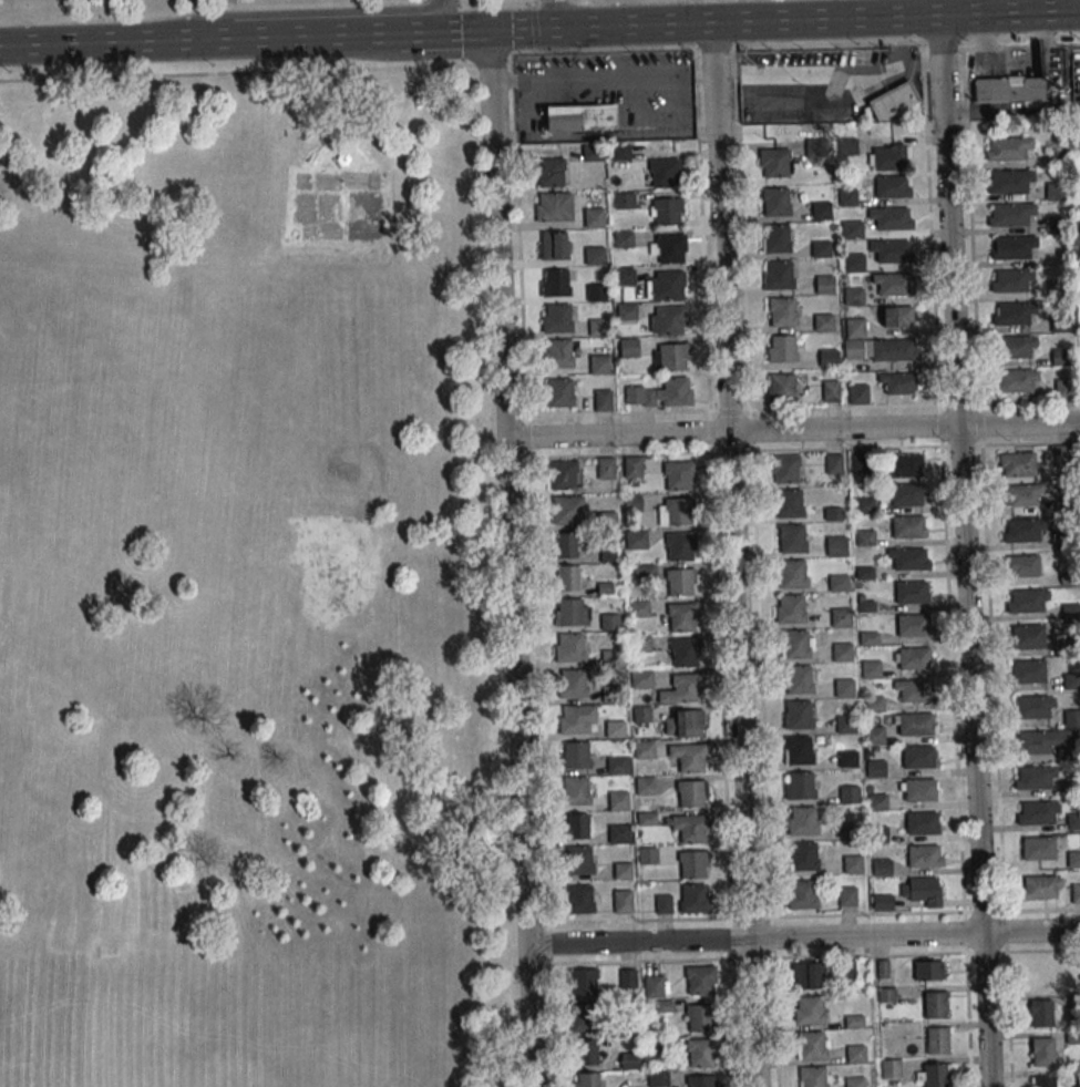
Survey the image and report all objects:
road: (295, 12)
road: (1009, 12)
road: (557, 13)
road: (825, 19)
road: (532, 22)
road: (566, 27)
traffic signals: (566, 28)
road: (373, 33)
road: (163, 40)
road: (897, 47)
road: (538, 49)
road: (918, 65)
road: (801, 71)
building: (1009, 90)
building: (893, 101)
building: (579, 117)
building: (1008, 148)
building: (886, 157)
building: (340, 161)
building: (775, 163)
building: (549, 172)
building: (662, 173)
building: (1010, 181)
building: (891, 187)
building: (1056, 191)
building: (846, 197)
building: (625, 201)
building: (775, 202)
building: (553, 206)
building: (666, 211)
building: (821, 211)
building: (1010, 215)
building: (594, 217)
building: (892, 219)
building: (852, 230)
road: (496, 235)
building: (775, 238)
building: (624, 239)
building: (554, 245)
building: (1012, 247)
building: (667, 248)
building: (821, 249)
building: (893, 253)
building: (595, 256)
building: (853, 263)
building: (778, 275)
building: (1010, 280)
building: (555, 283)
building: (665, 285)
building: (824, 285)
building: (894, 286)
building: (596, 293)
building: (853, 296)
building: (627, 311)
building: (782, 311)
building: (1012, 314)
building: (896, 316)
building: (556, 318)
building: (668, 320)
building: (823, 321)
building: (598, 327)
building: (628, 347)
building: (1017, 347)
building: (783, 348)
building: (893, 351)
building: (558, 352)
building: (670, 357)
building: (1061, 357)
building: (827, 358)
building: (599, 363)
building: (1017, 381)
building: (898, 383)
building: (781, 388)
building: (1064, 388)
building: (830, 391)
building: (560, 392)
building: (661, 393)
building: (857, 393)
building: (603, 400)
road: (792, 430)
building: (1062, 454)
building: (833, 463)
building: (1017, 464)
building: (904, 465)
building: (632, 466)
building: (605, 468)
building: (784, 469)
building: (678, 474)
building: (564, 475)
building: (1025, 494)
building: (905, 496)
building: (632, 503)
road: (712, 503)
building: (790, 503)
building: (864, 505)
building: (567, 509)
building: (678, 510)
building: (832, 513)
building: (907, 529)
building: (1024, 531)
building: (864, 536)
building: (636, 539)
building: (791, 539)
building: (565, 544)
building: (680, 545)
building: (834, 546)
road: (961, 551)
road: (733, 555)
building: (909, 561)
building: (1021, 565)
road: (755, 566)
building: (792, 574)
building: (567, 578)
building: (680, 582)
building: (837, 582)
park: (246, 588)
building: (911, 594)
building: (1026, 601)
building: (639, 608)
building: (791, 608)
building: (572, 612)
building: (681, 616)
building: (837, 617)
building: (609, 622)
building: (913, 627)
building: (1027, 637)
building: (868, 638)
building: (641, 644)
building: (796, 644)
building: (570, 647)
building: (685, 652)
building: (842, 652)
building: (915, 658)
building: (870, 669)
building: (1027, 671)
building: (641, 679)
building: (799, 679)
building: (1071, 680)
building: (574, 684)
building: (843, 688)
building: (682, 689)
building: (917, 691)
building: (1032, 708)
building: (641, 714)
building: (796, 715)
building: (1071, 716)
building: (577, 718)
building: (685, 722)
building: (845, 724)
building: (918, 725)
building: (615, 728)
building: (874, 735)
building: (1042, 740)
building: (644, 749)
building: (796, 749)
building: (574, 755)
building: (689, 757)
building: (918, 757)
building: (847, 759)
road: (518, 763)
building: (618, 766)
building: (875, 768)
building: (1035, 778)
building: (799, 786)
building: (575, 790)
building: (922, 790)
building: (691, 793)
building: (848, 793)
building: (618, 800)
building: (877, 802)
building: (1037, 813)
building: (802, 820)
building: (1072, 821)
building: (922, 823)
building: (576, 827)
building: (690, 828)
building: (618, 833)
building: (1037, 848)
building: (647, 854)
building: (803, 855)
building: (924, 857)
building: (578, 859)
building: (1073, 859)
building: (692, 863)
building: (853, 864)
building: (882, 868)
building: (623, 870)
building: (1042, 886)
building: (923, 891)
building: (1072, 893)
building: (802, 894)
building: (846, 896)
building: (579, 899)
building: (695, 899)
building: (623, 901)
building: (882, 902)
building: (662, 904)
road: (803, 937)
building: (927, 970)
building: (806, 975)
building: (628, 977)
building: (700, 980)
building: (585, 982)
building: (657, 991)
building: (934, 1005)
building: (809, 1009)
building: (1041, 1013)
building: (585, 1017)
building: (700, 1017)
road: (734, 1023)
building: (937, 1040)
building: (812, 1046)
building: (585, 1052)
building: (701, 1053)
building: (1042, 1053)
building: (855, 1054)
building: (629, 1060)
building: (891, 1068)
building: (935, 1075)
building: (814, 1077)
building: (586, 1079)
building: (657, 1079)
building: (701, 1080)
building: (1043, 1081)

